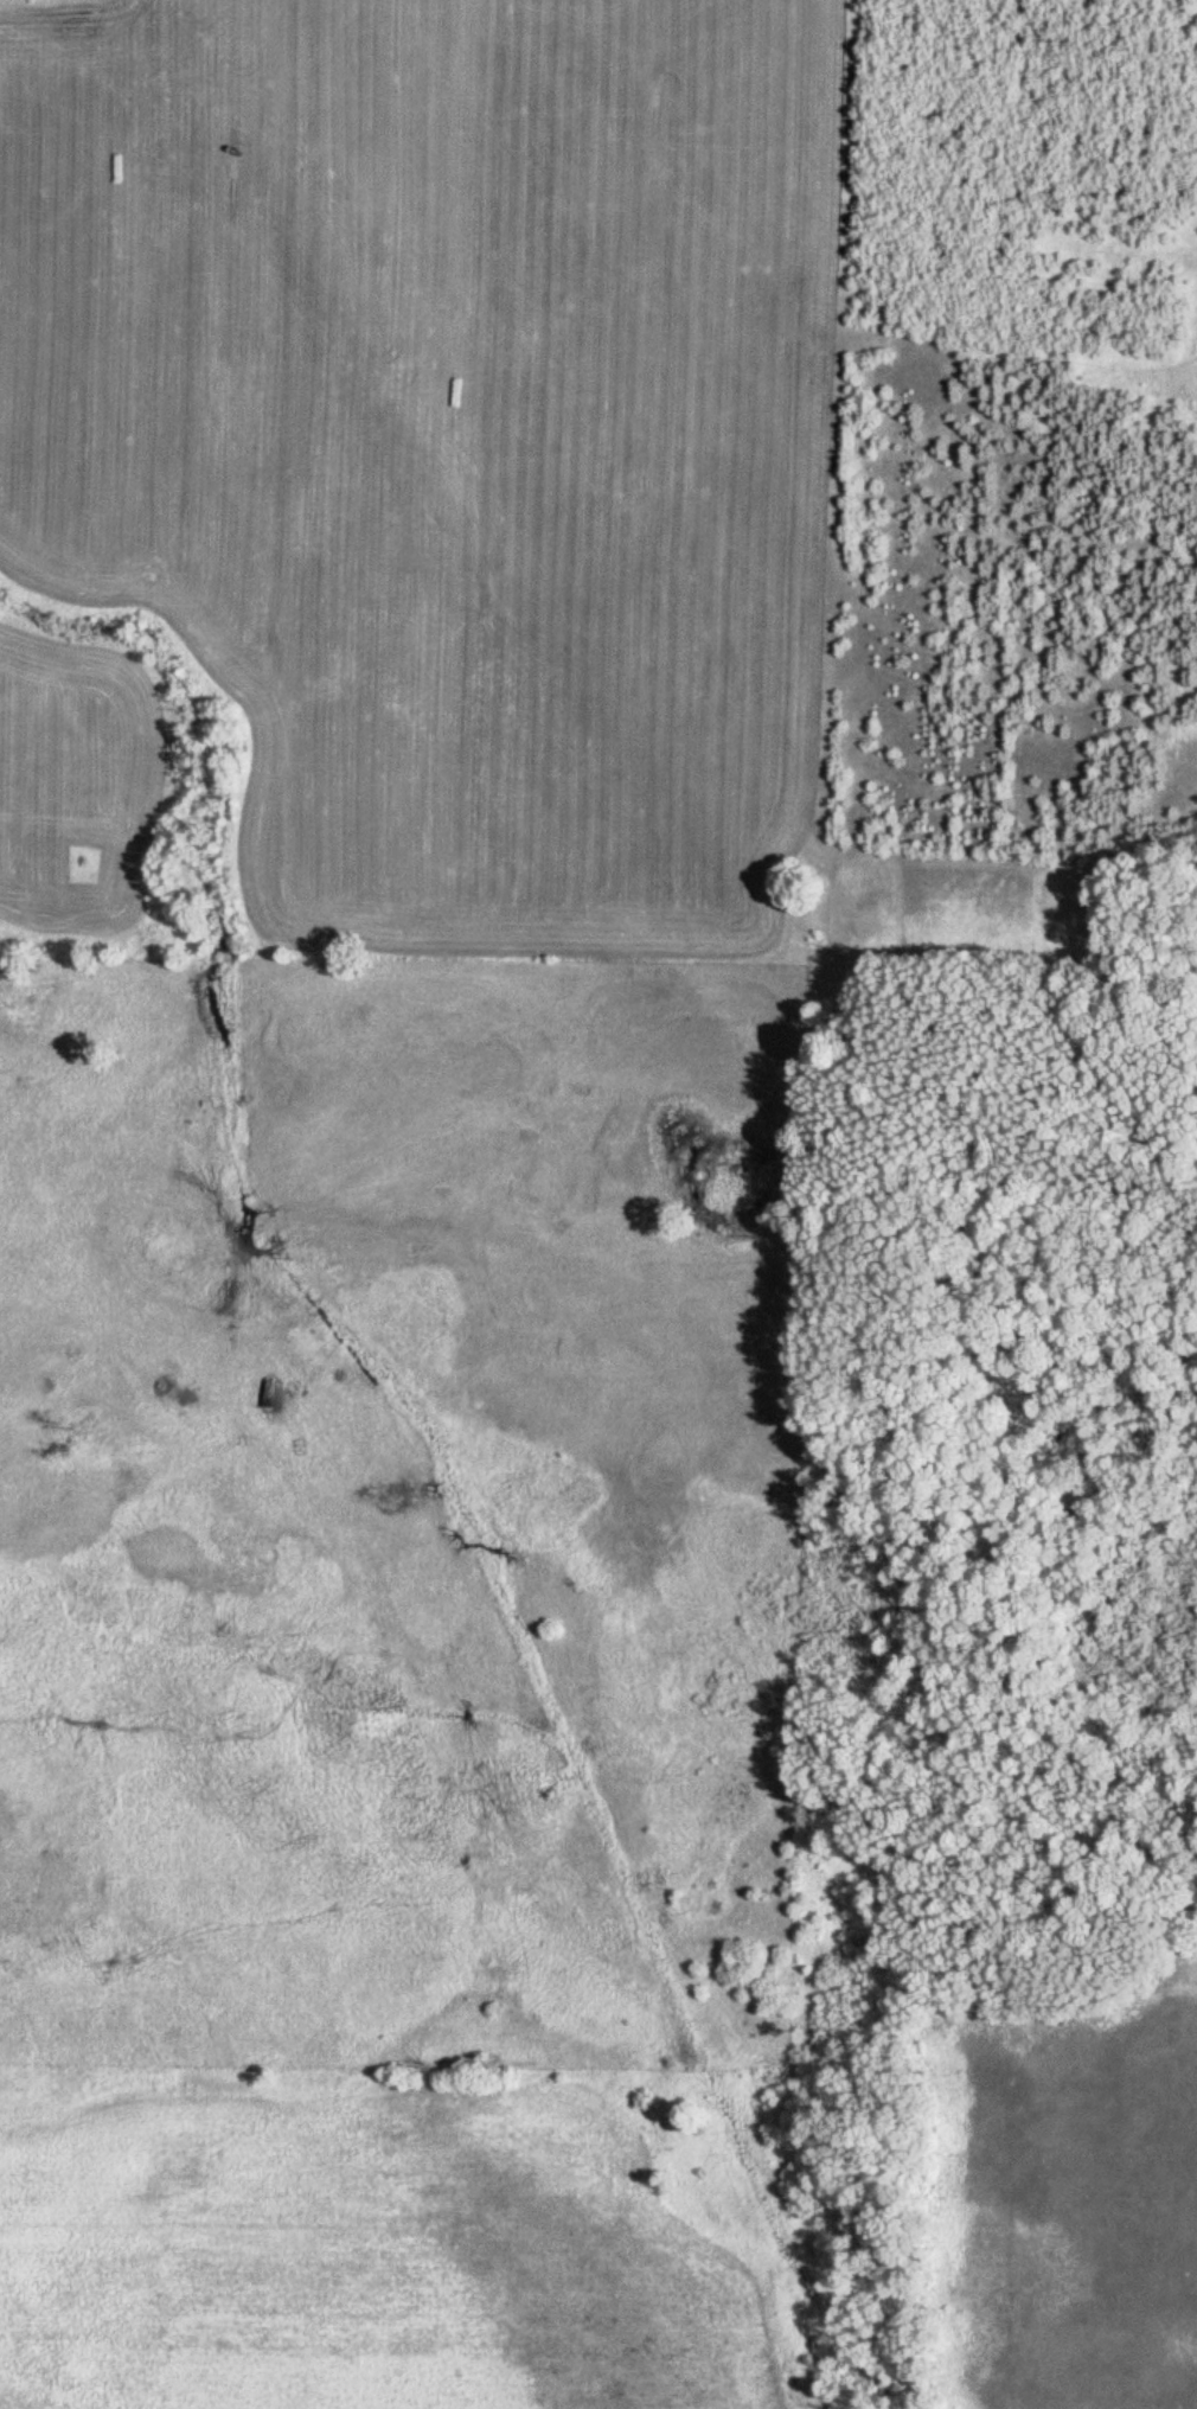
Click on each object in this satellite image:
building: (270, 1398)

